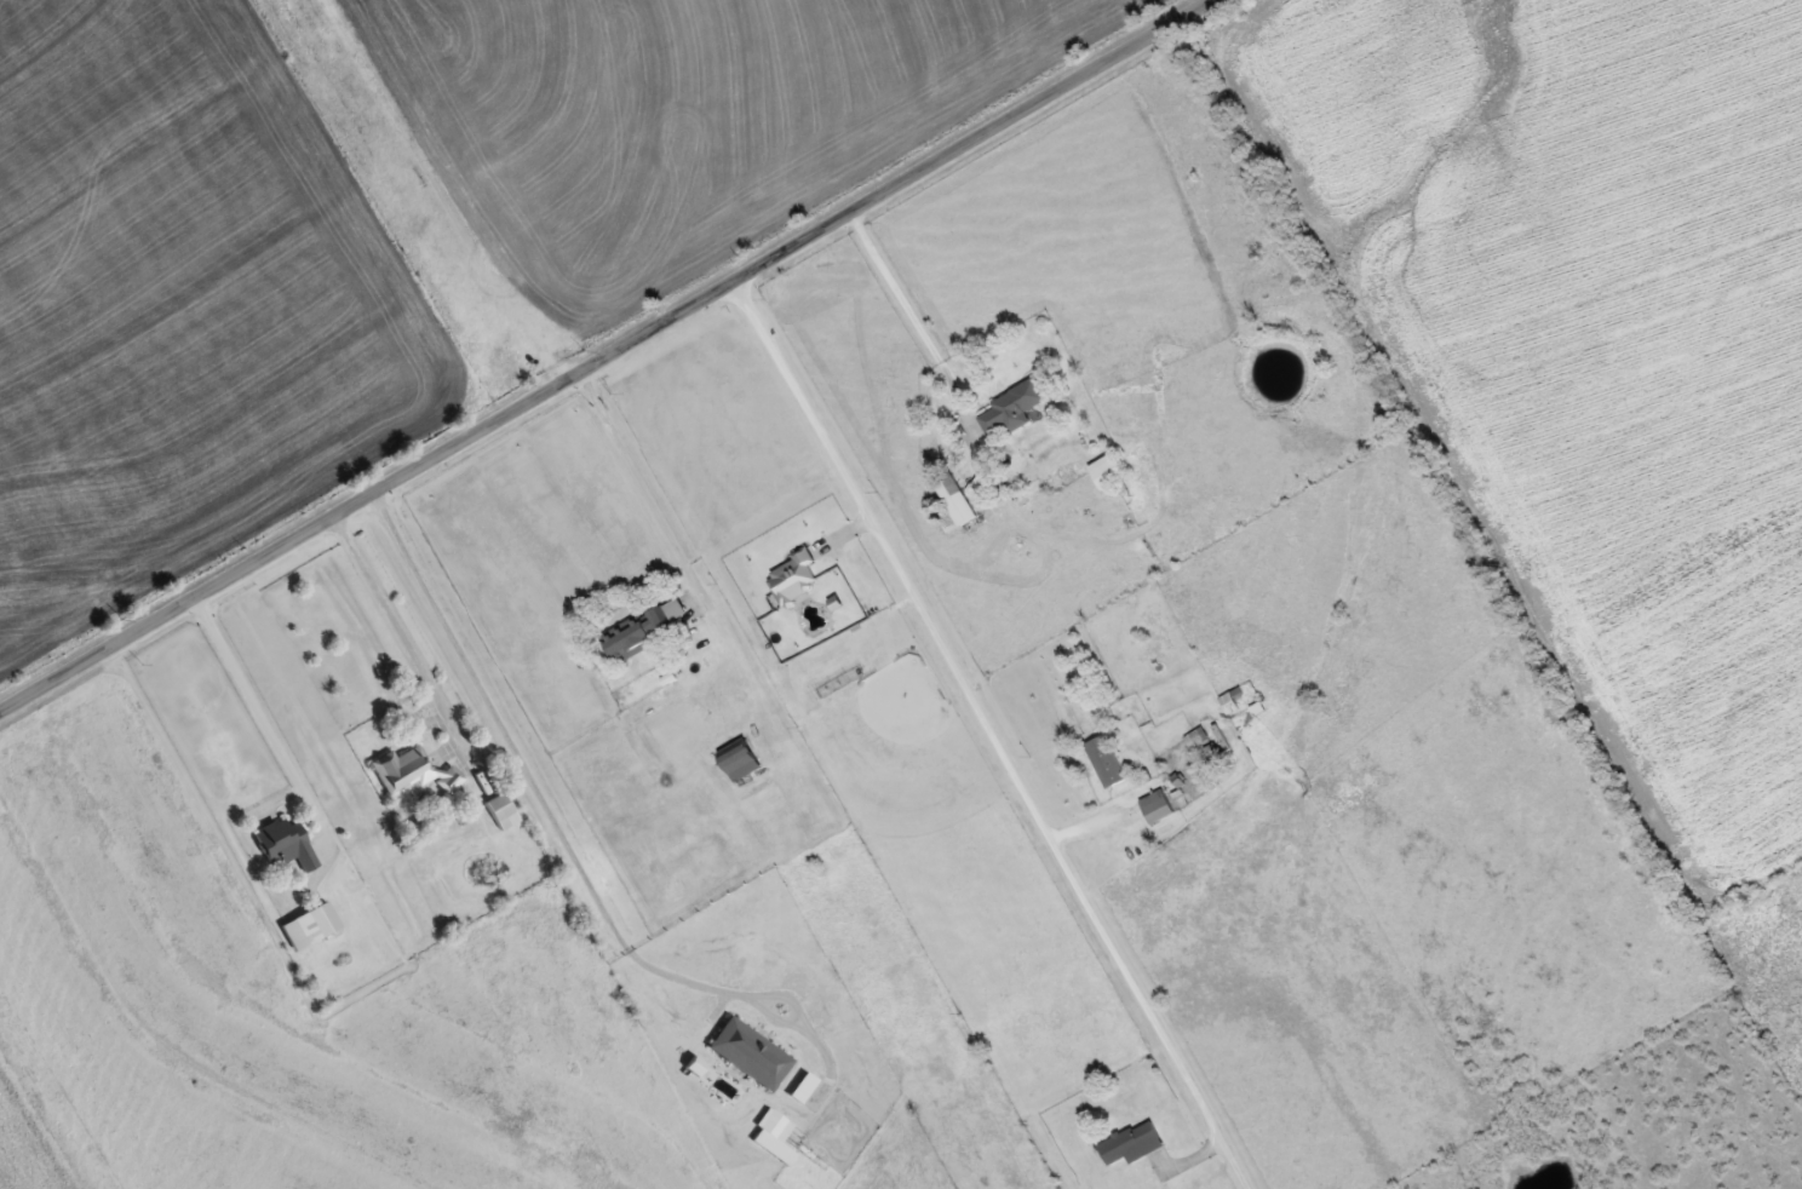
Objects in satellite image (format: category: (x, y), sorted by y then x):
road: (587, 341)
building: (1014, 404)
building: (1108, 469)
building: (953, 500)
building: (796, 574)
building: (644, 627)
building: (1230, 700)
building: (1249, 713)
road: (993, 729)
building: (1107, 759)
building: (741, 760)
building: (411, 770)
building: (1158, 804)
building: (499, 809)
building: (283, 842)
building: (309, 925)
building: (1134, 1142)

